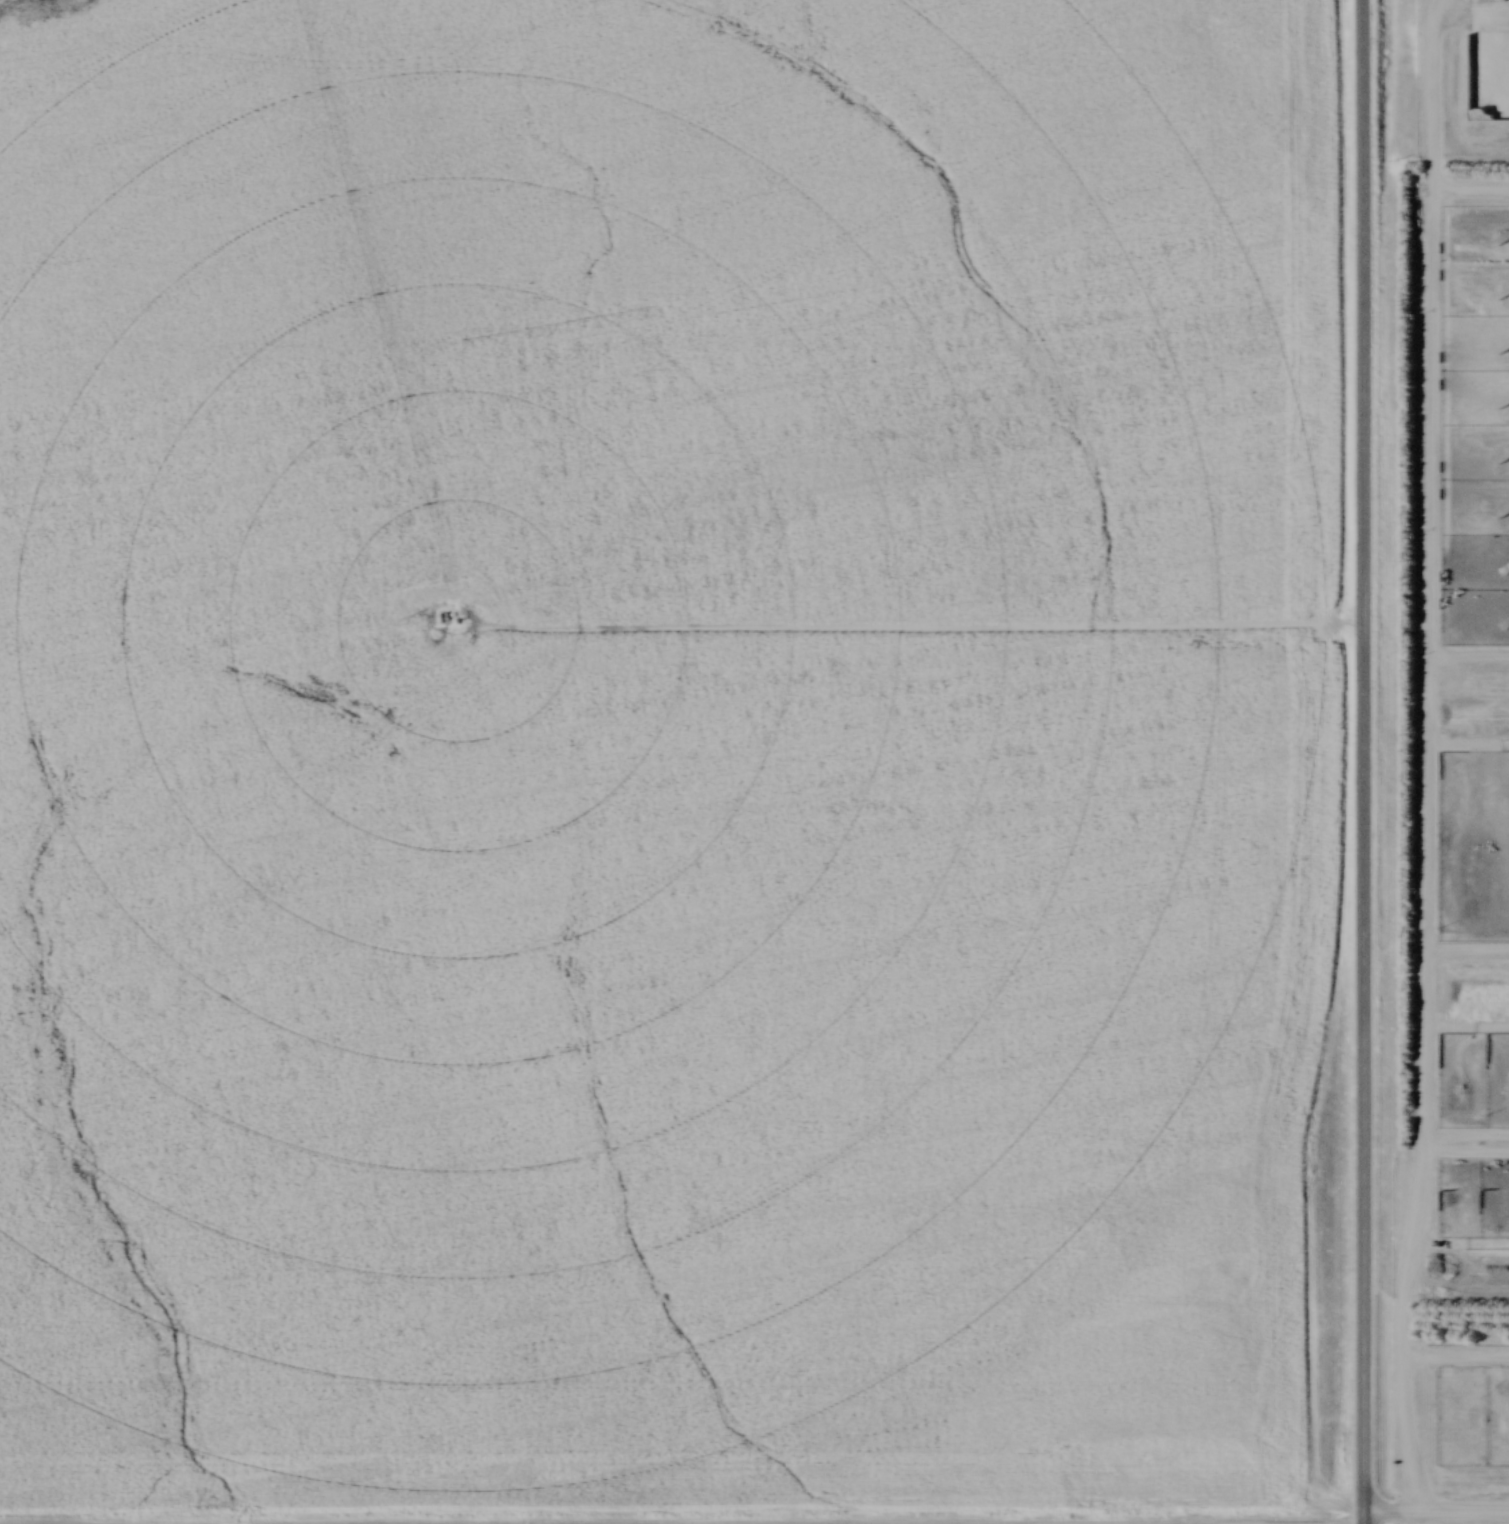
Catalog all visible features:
road: (1365, 762)
road: (1438, 1509)

